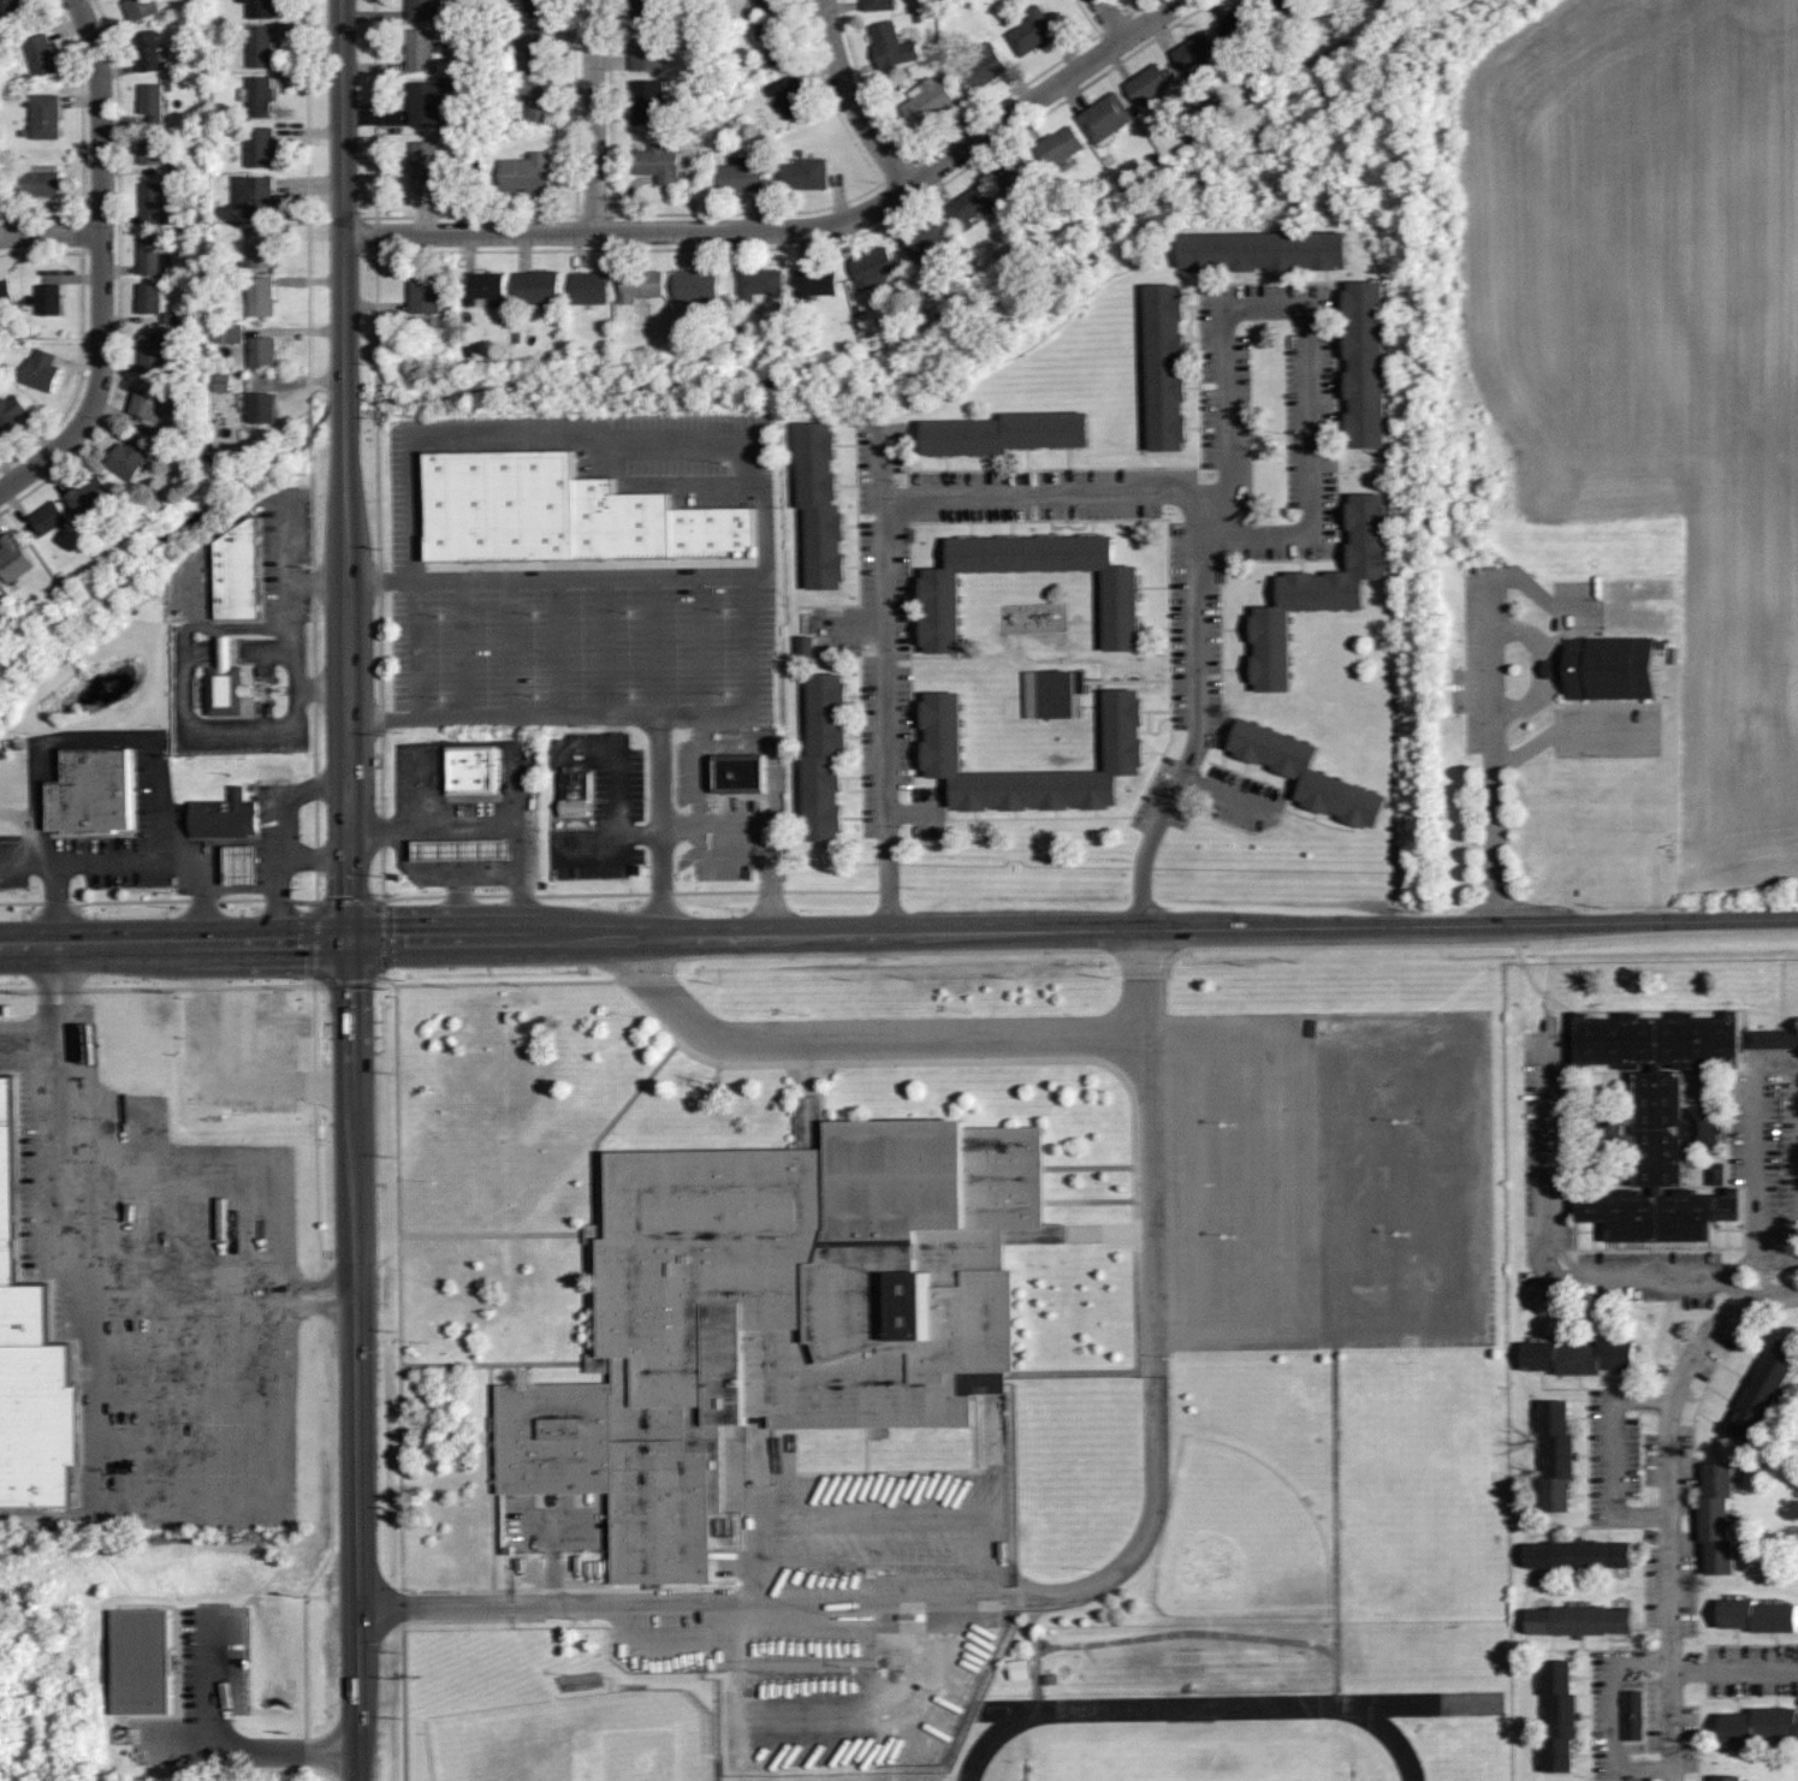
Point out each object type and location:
building: (770, 4)
building: (878, 5)
building: (536, 7)
building: (645, 7)
building: (1281, 7)
building: (260, 8)
building: (422, 8)
building: (140, 10)
road: (1111, 18)
road: (1151, 18)
building: (1239, 22)
building: (5, 23)
building: (1029, 30)
building: (775, 40)
building: (890, 44)
building: (646, 46)
building: (261, 47)
building: (533, 48)
building: (421, 49)
building: (147, 52)
building: (1193, 52)
building: (41, 57)
building: (984, 66)
building: (1146, 84)
building: (789, 94)
building: (259, 96)
road: (851, 97)
building: (538, 100)
building: (926, 100)
building: (152, 101)
building: (649, 101)
building: (425, 102)
road: (593, 115)
building: (44, 117)
building: (1104, 118)
building: (1058, 144)
building: (260, 148)
building: (150, 149)
building: (659, 162)
building: (173, 166)
building: (425, 166)
building: (526, 172)
building: (741, 173)
building: (800, 176)
building: (1015, 176)
building: (40, 184)
building: (256, 196)
building: (968, 204)
building: (156, 206)
road: (100, 207)
road: (761, 230)
road: (49, 232)
building: (924, 237)
building: (262, 248)
building: (1264, 250)
building: (154, 256)
building: (32, 260)
building: (872, 267)
building: (814, 281)
building: (760, 283)
building: (640, 284)
building: (481, 285)
building: (589, 286)
building: (696, 286)
building: (536, 287)
building: (423, 291)
building: (6, 297)
building: (262, 297)
building: (150, 299)
building: (51, 301)
building: (174, 317)
building: (29, 330)
building: (231, 334)
crop: (1660, 348)
building: (155, 354)
building: (263, 354)
building: (1364, 362)
building: (1165, 366)
road: (1224, 367)
building: (42, 372)
building: (197, 378)
building: (227, 382)
building: (156, 403)
building: (265, 409)
building: (12, 416)
building: (1004, 432)
road: (583, 443)
road: (46, 456)
building: (130, 459)
road: (1310, 464)
road: (1048, 486)
building: (91, 495)
building: (821, 504)
road: (1211, 510)
building: (563, 512)
building: (49, 518)
road: (206, 544)
building: (17, 558)
road: (285, 569)
building: (242, 574)
road: (699, 576)
building: (65, 577)
building: (939, 589)
building: (1319, 589)
road: (286, 601)
road: (425, 612)
road: (236, 629)
road: (841, 629)
road: (185, 640)
building: (807, 648)
road: (225, 649)
road: (260, 649)
building: (1608, 667)
road: (186, 673)
road: (885, 676)
road: (297, 677)
building: (226, 685)
road: (1493, 690)
building: (1063, 694)
road: (612, 712)
road: (1568, 729)
road: (260, 730)
road: (1197, 734)
road: (483, 743)
building: (942, 752)
building: (824, 756)
building: (470, 768)
road: (159, 770)
building: (738, 772)
building: (1306, 772)
building: (94, 792)
building: (575, 792)
road: (615, 796)
road: (1230, 796)
road: (915, 812)
building: (225, 819)
road: (280, 833)
road: (465, 833)
road: (756, 836)
road: (315, 857)
road: (22, 863)
building: (242, 865)
road: (488, 878)
road: (445, 879)
road: (215, 889)
road: (350, 890)
road: (1074, 930)
road: (174, 944)
road: (1146, 981)
road: (684, 1010)
road: (959, 1033)
building: (1774, 1039)
road: (25, 1047)
building: (1657, 1122)
road: (1756, 1139)
road: (215, 1156)
building: (1720, 1174)
road: (1299, 1175)
road: (1548, 1236)
road: (1778, 1259)
road: (1743, 1265)
road: (1739, 1288)
road: (183, 1295)
road: (1773, 1295)
building: (781, 1313)
building: (1579, 1356)
building: (30, 1360)
building: (1764, 1388)
road: (91, 1442)
building: (1557, 1454)
road: (1615, 1454)
building: (1717, 1516)
road: (1672, 1526)
building: (1579, 1554)
road: (1015, 1591)
building: (1758, 1614)
building: (1580, 1620)
road: (1631, 1660)
building: (142, 1661)
building: (1023, 1670)
building: (1052, 1680)
building: (1560, 1715)
building: (1637, 1716)
track: (1211, 1717)
building: (1760, 1723)
road: (230, 1743)
park: (1193, 1759)
building: (1728, 1777)

